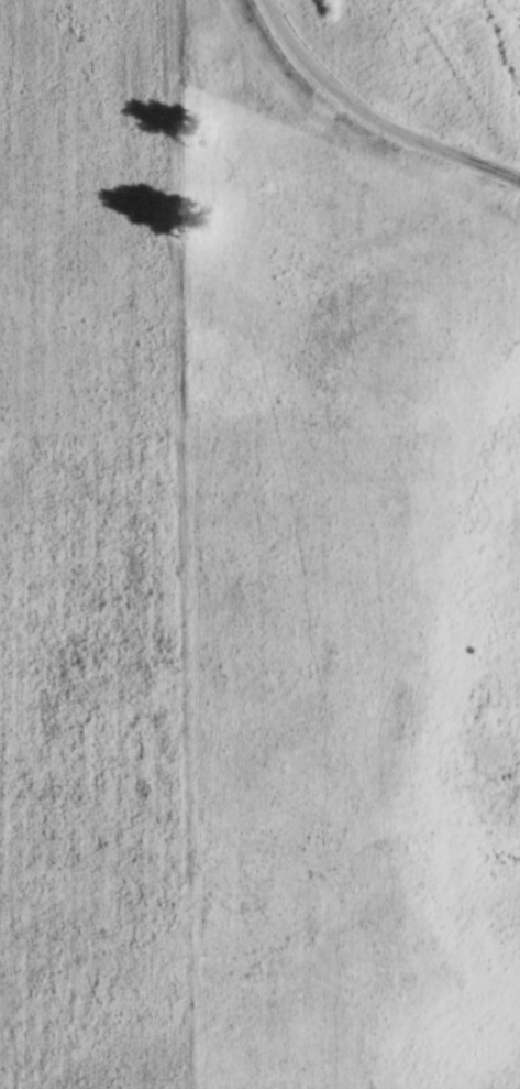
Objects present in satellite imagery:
road: (376, 113)

